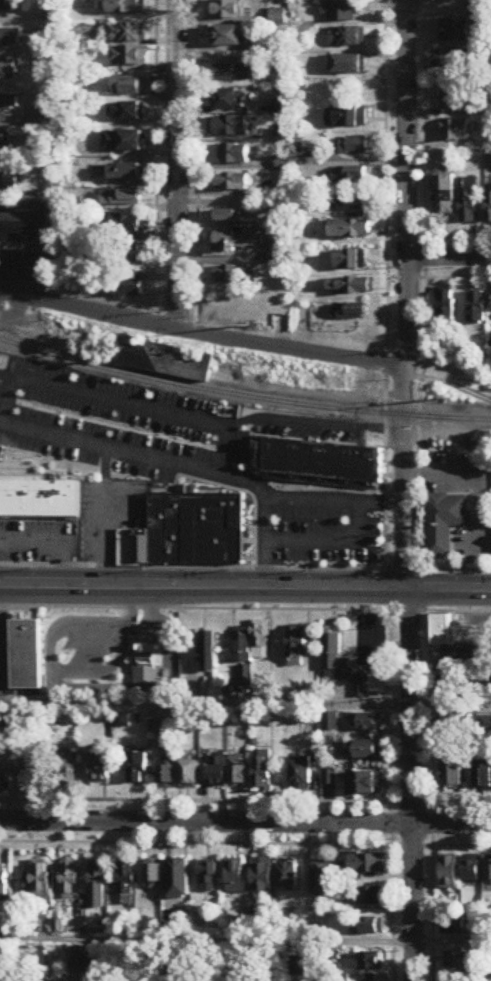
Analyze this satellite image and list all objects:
building: (5, 6)
building: (126, 7)
building: (226, 10)
building: (341, 12)
building: (454, 31)
building: (127, 34)
building: (226, 37)
building: (348, 37)
building: (10, 38)
building: (129, 57)
building: (448, 59)
building: (347, 65)
building: (9, 72)
building: (235, 73)
building: (129, 87)
building: (454, 99)
building: (229, 100)
building: (8, 105)
building: (127, 113)
building: (347, 118)
building: (229, 127)
building: (456, 131)
building: (4, 141)
building: (123, 142)
building: (354, 146)
building: (236, 154)
building: (283, 164)
road: (178, 165)
building: (124, 173)
building: (348, 176)
building: (7, 180)
building: (231, 182)
building: (444, 195)
building: (121, 198)
building: (468, 201)
building: (347, 203)
building: (489, 205)
building: (237, 218)
building: (126, 224)
building: (351, 229)
building: (24, 233)
building: (238, 243)
building: (128, 253)
building: (283, 253)
road: (450, 258)
building: (351, 260)
building: (236, 275)
building: (124, 286)
building: (351, 286)
building: (445, 307)
building: (476, 308)
building: (349, 312)
road: (201, 334)
building: (165, 361)
railway: (242, 396)
road: (122, 401)
building: (80, 406)
road: (447, 418)
road: (314, 423)
road: (180, 462)
road: (476, 478)
building: (52, 479)
building: (225, 486)
road: (404, 490)
road: (334, 501)
road: (104, 515)
building: (444, 523)
road: (52, 537)
road: (192, 565)
road: (399, 566)
road: (452, 567)
road: (245, 588)
road: (196, 607)
road: (408, 610)
road: (457, 611)
building: (451, 634)
building: (253, 644)
road: (384, 644)
building: (296, 648)
building: (27, 653)
building: (207, 653)
building: (456, 657)
building: (148, 663)
building: (336, 663)
building: (245, 677)
building: (376, 685)
building: (453, 685)
road: (78, 687)
road: (204, 703)
road: (449, 703)
building: (1, 720)
building: (330, 723)
building: (456, 723)
building: (365, 724)
building: (364, 751)
building: (100, 766)
building: (67, 769)
building: (137, 769)
building: (166, 770)
building: (216, 772)
building: (262, 772)
building: (237, 773)
building: (301, 773)
building: (188, 775)
building: (33, 776)
building: (454, 777)
building: (5, 781)
building: (483, 782)
building: (365, 786)
road: (245, 824)
building: (367, 864)
building: (472, 871)
building: (489, 871)
building: (450, 874)
building: (153, 877)
building: (287, 877)
building: (234, 878)
building: (262, 878)
building: (70, 879)
building: (179, 879)
building: (208, 879)
building: (4, 880)
building: (323, 880)
building: (127, 881)
building: (39, 884)
building: (97, 886)
building: (371, 897)
building: (369, 926)
building: (459, 926)
road: (208, 940)
road: (453, 942)
building: (74, 957)
building: (141, 960)
building: (462, 960)
building: (371, 961)
building: (92, 965)
building: (179, 975)
building: (237, 979)
building: (208, 980)

